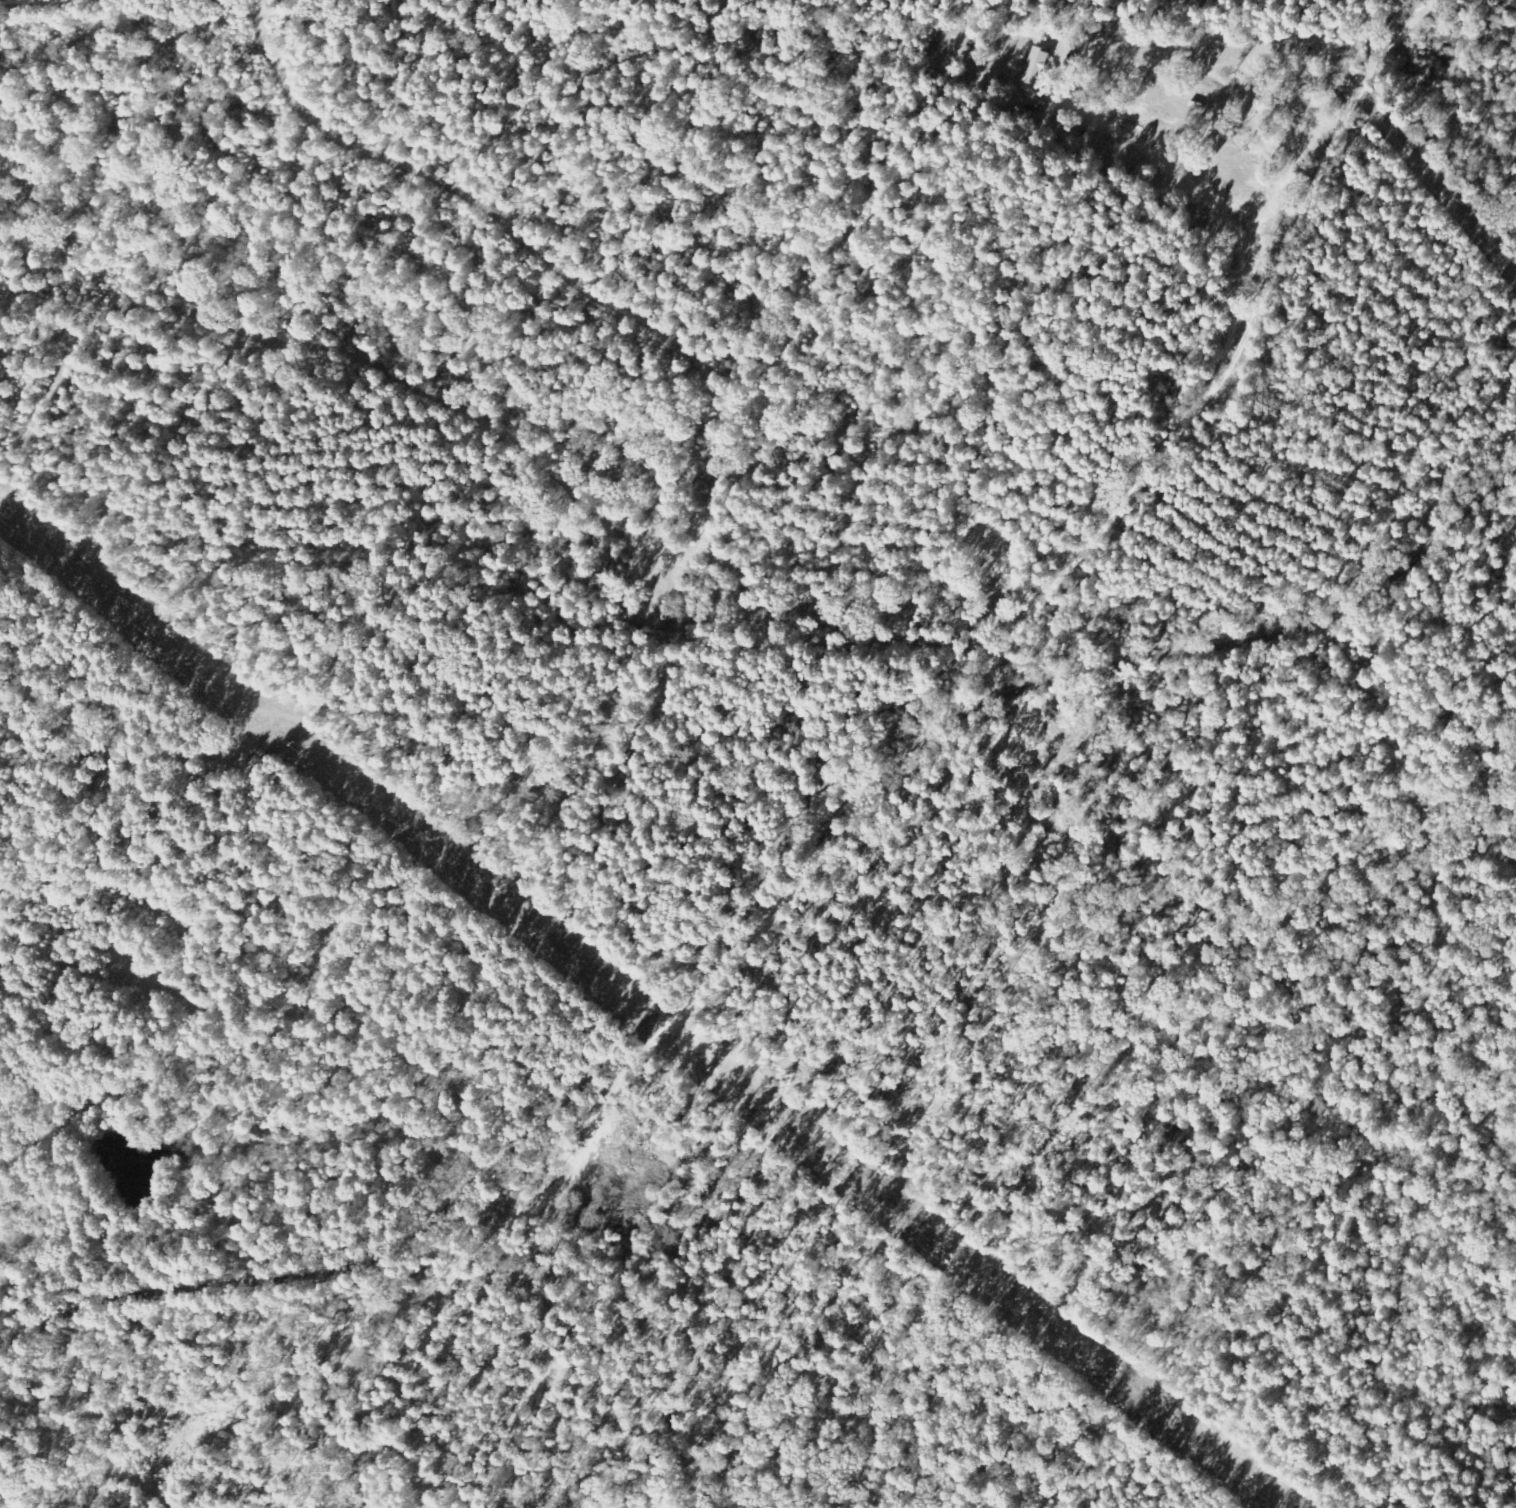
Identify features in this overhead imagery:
building: (1037, 66)
road: (757, 914)

